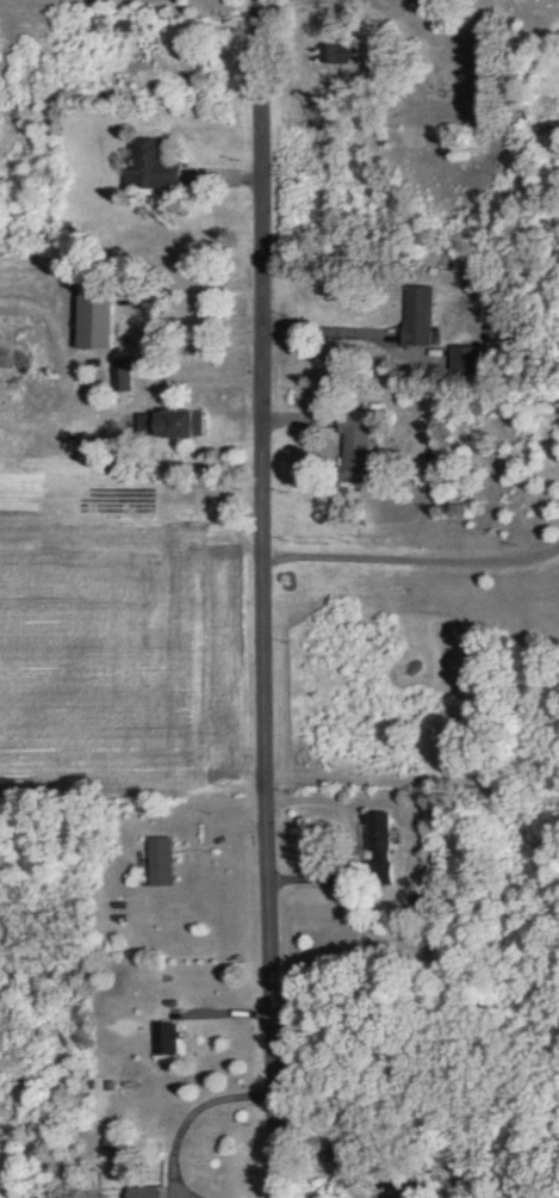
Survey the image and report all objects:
building: (335, 54)
building: (150, 167)
building: (421, 316)
building: (100, 317)
road: (327, 327)
building: (467, 358)
building: (126, 376)
road: (197, 377)
building: (175, 424)
building: (360, 437)
road: (269, 598)
building: (386, 844)
building: (167, 862)
building: (170, 1039)
road: (191, 1118)

